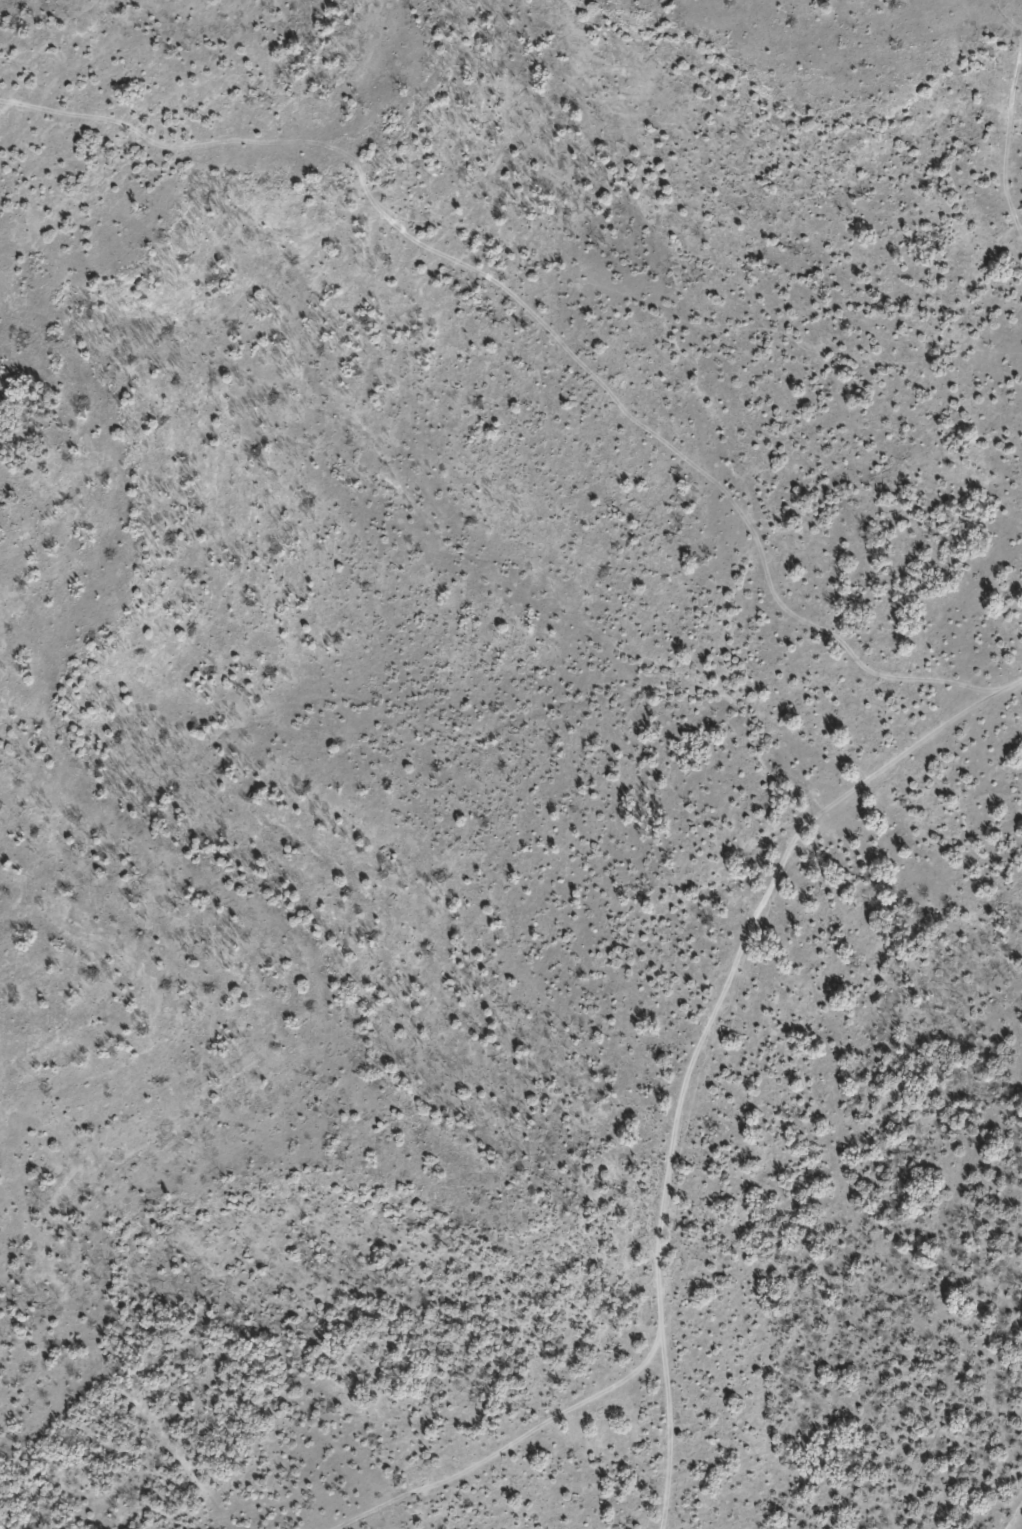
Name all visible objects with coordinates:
road: (719, 1055)

